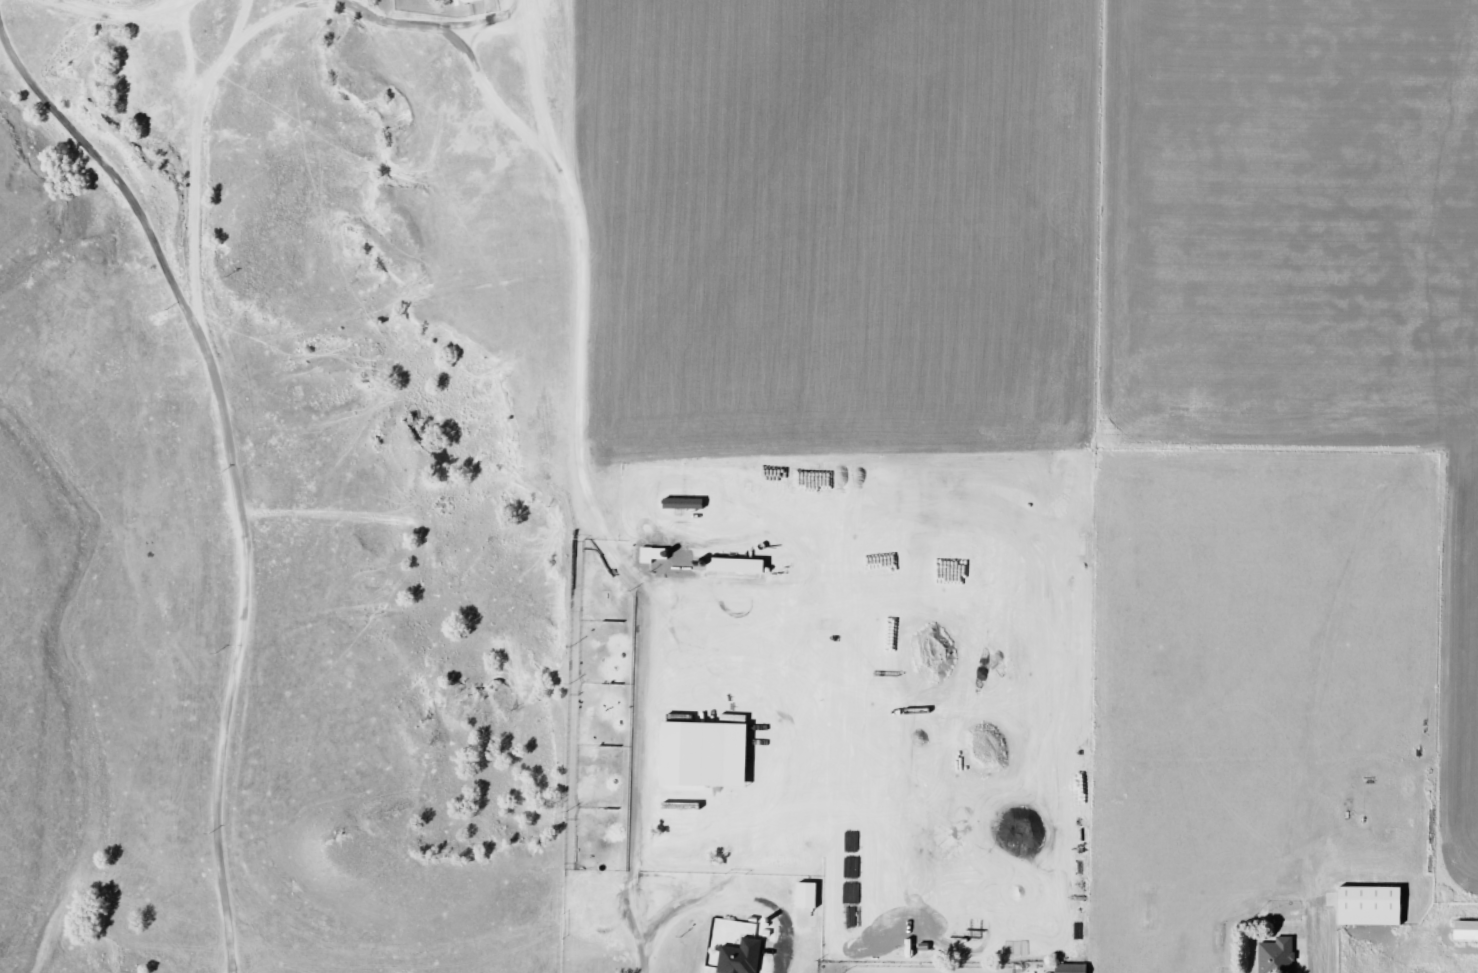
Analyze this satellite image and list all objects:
building: (470, 2)
building: (687, 503)
building: (710, 754)
building: (811, 896)
building: (1375, 906)
building: (1468, 930)
building: (1282, 956)
building: (745, 957)
building: (1075, 968)

